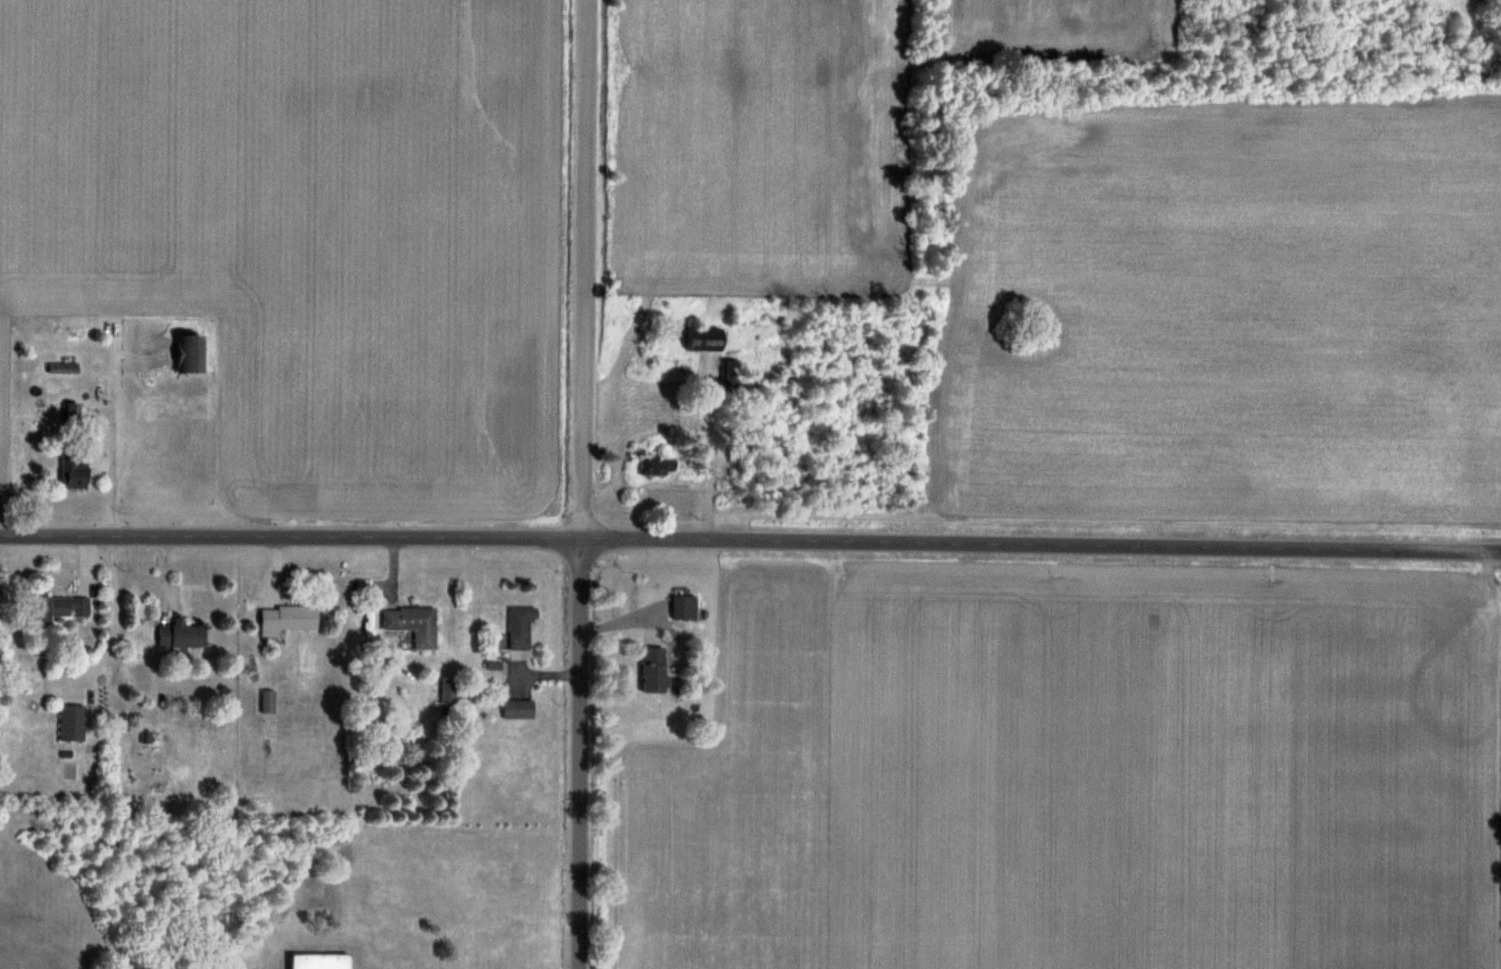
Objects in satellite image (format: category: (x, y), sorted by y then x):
road: (583, 269)
building: (707, 339)
building: (191, 353)
building: (64, 367)
building: (72, 411)
building: (74, 471)
road: (290, 537)
road: (1041, 546)
building: (686, 606)
building: (60, 607)
building: (288, 619)
building: (414, 624)
building: (522, 627)
building: (182, 634)
building: (656, 669)
building: (449, 691)
building: (269, 700)
building: (519, 709)
building: (72, 722)
road: (581, 754)
building: (300, 954)

